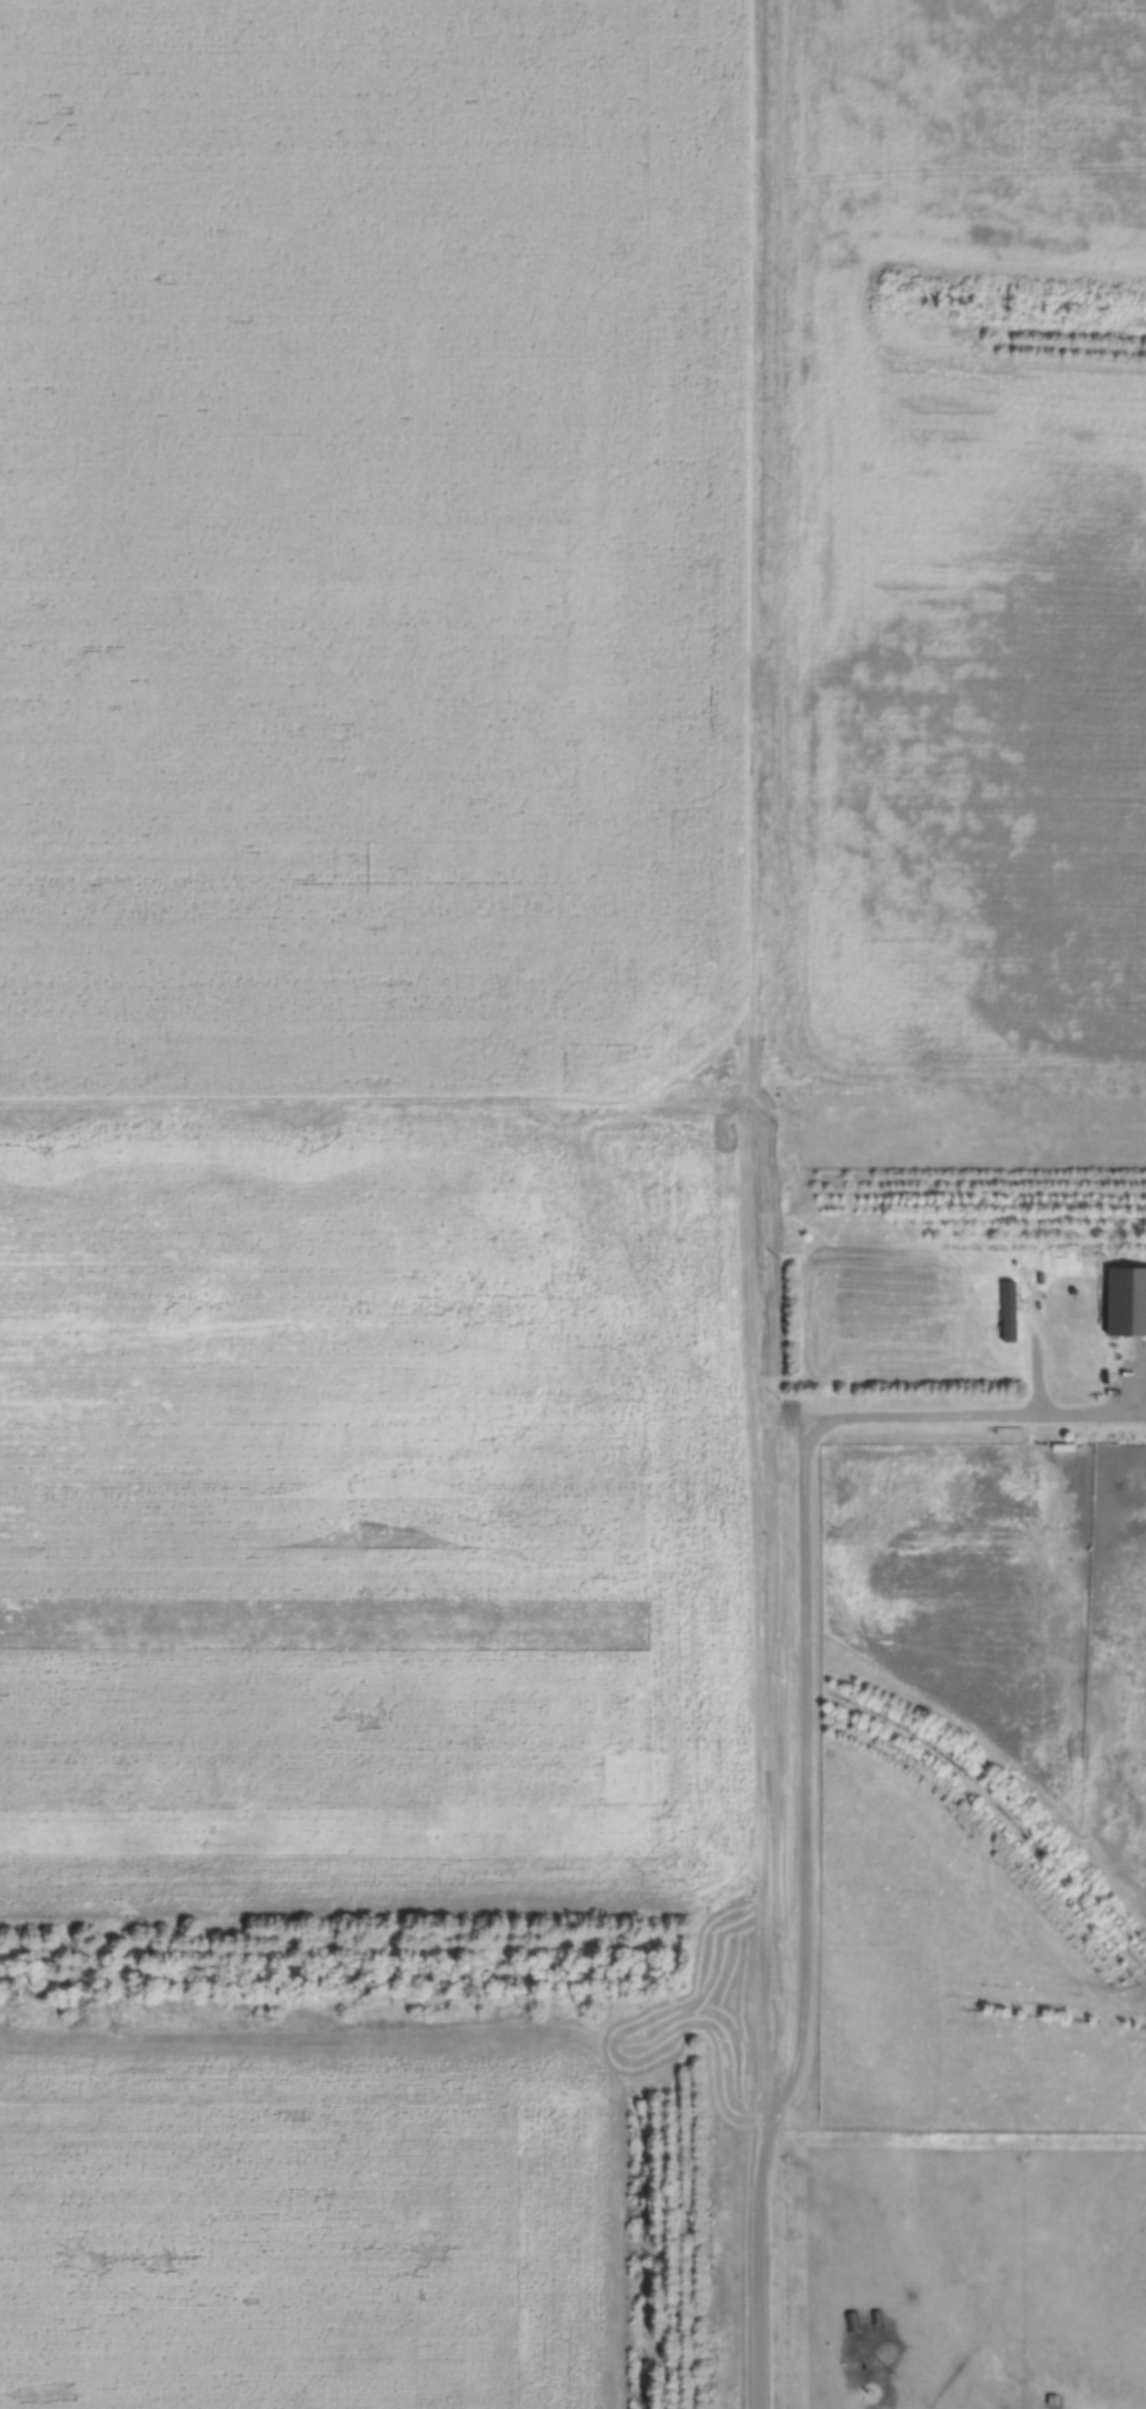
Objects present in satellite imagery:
building: (7, 39)
road: (373, 1070)
road: (748, 1204)
building: (1125, 1301)
building: (1006, 1309)

